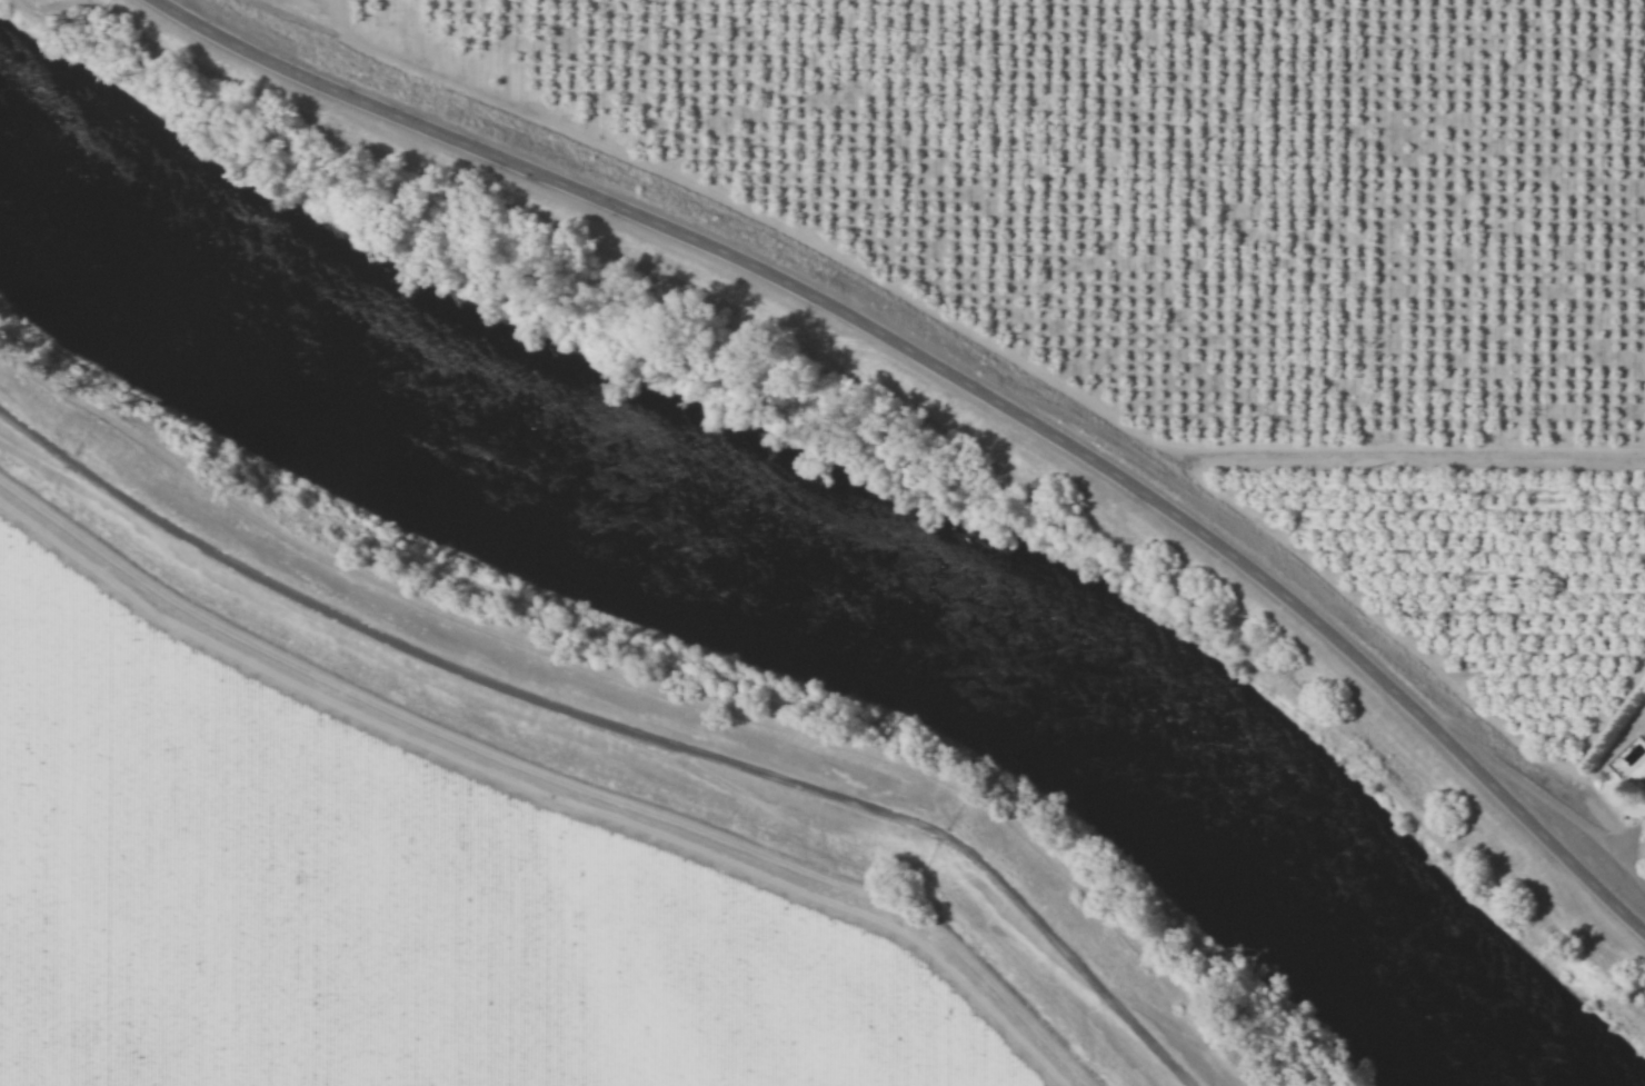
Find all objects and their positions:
road: (957, 377)
river: (799, 568)
road: (616, 717)

